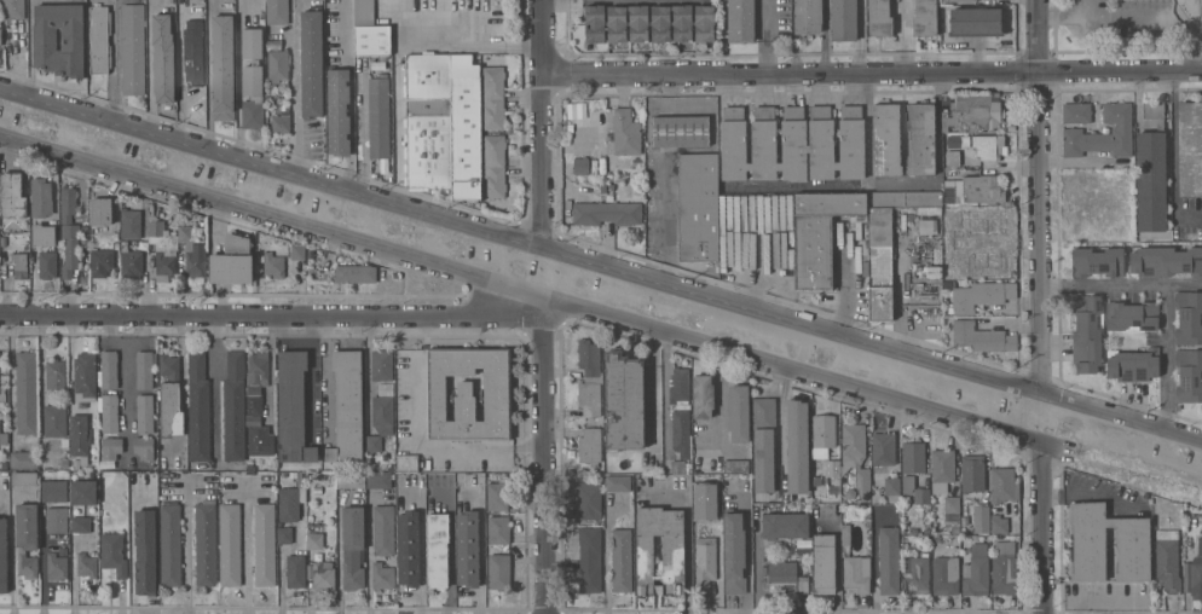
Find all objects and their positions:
building: (963, 0)
building: (944, 2)
road: (1090, 7)
building: (12, 8)
building: (277, 11)
building: (365, 13)
road: (1135, 15)
building: (808, 16)
parking lot: (1132, 17)
building: (879, 18)
building: (925, 18)
building: (740, 21)
building: (843, 21)
building: (682, 22)
building: (975, 22)
park: (1131, 22)
building: (595, 23)
building: (616, 23)
building: (638, 23)
building: (660, 23)
building: (704, 23)
building: (0, 36)
road: (765, 36)
road: (902, 36)
building: (45, 39)
building: (99, 39)
building: (372, 40)
road: (472, 45)
building: (133, 50)
building: (192, 51)
building: (163, 58)
building: (311, 63)
building: (277, 65)
building: (221, 68)
road: (1120, 71)
road: (791, 74)
building: (252, 79)
road: (296, 87)
road: (349, 94)
building: (492, 97)
building: (982, 98)
building: (339, 111)
building: (1075, 112)
building: (981, 116)
building: (378, 117)
building: (281, 121)
building: (429, 121)
road: (397, 122)
road: (543, 123)
building: (466, 128)
building: (946, 128)
building: (680, 131)
road: (866, 131)
building: (625, 132)
building: (1102, 134)
building: (886, 139)
building: (920, 139)
building: (807, 143)
building: (851, 143)
building: (733, 144)
building: (763, 144)
building: (988, 146)
building: (1190, 147)
building: (952, 158)
building: (636, 162)
building: (493, 166)
building: (580, 166)
building: (837, 166)
building: (749, 167)
building: (779, 167)
road: (272, 168)
building: (1151, 172)
building: (983, 189)
building: (12, 195)
building: (949, 195)
road: (1041, 195)
building: (40, 197)
building: (905, 198)
building: (68, 204)
building: (698, 207)
building: (100, 210)
building: (929, 210)
building: (606, 213)
road: (273, 218)
building: (950, 219)
building: (129, 222)
building: (927, 226)
building: (144, 232)
building: (186, 233)
building: (44, 234)
building: (819, 234)
building: (1002, 242)
building: (162, 248)
building: (70, 249)
building: (297, 253)
building: (308, 254)
building: (129, 260)
building: (100, 261)
building: (195, 261)
building: (232, 261)
building: (1166, 261)
building: (1097, 262)
building: (47, 263)
building: (880, 263)
building: (19, 265)
building: (272, 265)
building: (925, 272)
building: (354, 273)
road: (1165, 292)
building: (978, 295)
road: (275, 311)
building: (1131, 315)
building: (1189, 318)
road: (291, 331)
building: (1086, 332)
building: (982, 338)
road: (873, 342)
building: (381, 365)
building: (1133, 365)
building: (169, 366)
building: (258, 367)
road: (792, 367)
building: (109, 369)
building: (144, 370)
road: (324, 373)
building: (54, 375)
building: (85, 375)
road: (311, 376)
building: (1189, 376)
building: (589, 378)
building: (680, 386)
building: (25, 393)
building: (468, 394)
building: (703, 396)
building: (624, 401)
building: (253, 404)
building: (291, 404)
building: (198, 406)
building: (233, 407)
building: (347, 407)
building: (171, 410)
building: (382, 411)
building: (109, 412)
building: (144, 413)
building: (738, 413)
building: (54, 421)
road: (781, 423)
building: (681, 431)
building: (79, 435)
building: (822, 435)
building: (4, 438)
building: (258, 440)
building: (64, 441)
building: (706, 441)
building: (763, 442)
building: (374, 444)
building: (590, 445)
building: (796, 446)
building: (110, 447)
building: (143, 447)
road: (509, 447)
building: (883, 448)
building: (310, 453)
road: (549, 454)
building: (855, 457)
building: (913, 457)
building: (24, 459)
building: (83, 460)
building: (406, 463)
building: (65, 464)
building: (391, 467)
building: (735, 467)
building: (832, 468)
building: (942, 470)
building: (972, 474)
building: (23, 479)
building: (143, 480)
building: (351, 480)
building: (378, 480)
building: (907, 480)
building: (618, 482)
building: (1002, 485)
building: (891, 488)
building: (317, 490)
building: (54, 491)
building: (83, 492)
building: (718, 492)
building: (497, 494)
building: (921, 496)
building: (589, 498)
building: (288, 504)
building: (950, 508)
building: (703, 515)
building: (981, 519)
building: (57, 520)
building: (80, 523)
building: (999, 523)
building: (785, 526)
road: (1041, 526)
building: (955, 528)
building: (383, 529)
building: (498, 529)
building: (845, 534)
building: (284, 535)
building: (314, 537)
building: (27, 538)
building: (955, 539)
building: (206, 543)
road: (421, 544)
building: (171, 545)
building: (230, 545)
building: (265, 545)
building: (1200, 545)
building: (353, 546)
road: (248, 549)
building: (408, 549)
building: (437, 549)
building: (467, 549)
road: (132, 550)
building: (145, 551)
building: (62, 552)
road: (187, 552)
building: (734, 552)
building: (114, 554)
building: (672, 555)
building: (1133, 555)
building: (2, 556)
road: (873, 557)
building: (589, 558)
building: (622, 560)
building: (1167, 560)
building: (888, 561)
building: (86, 563)
building: (824, 563)
building: (56, 567)
building: (705, 567)
building: (1005, 568)
building: (295, 570)
building: (498, 572)
building: (976, 572)
building: (856, 573)
road: (369, 574)
building: (323, 575)
building: (915, 575)
building: (946, 575)
building: (382, 577)
building: (785, 578)
building: (1196, 580)

